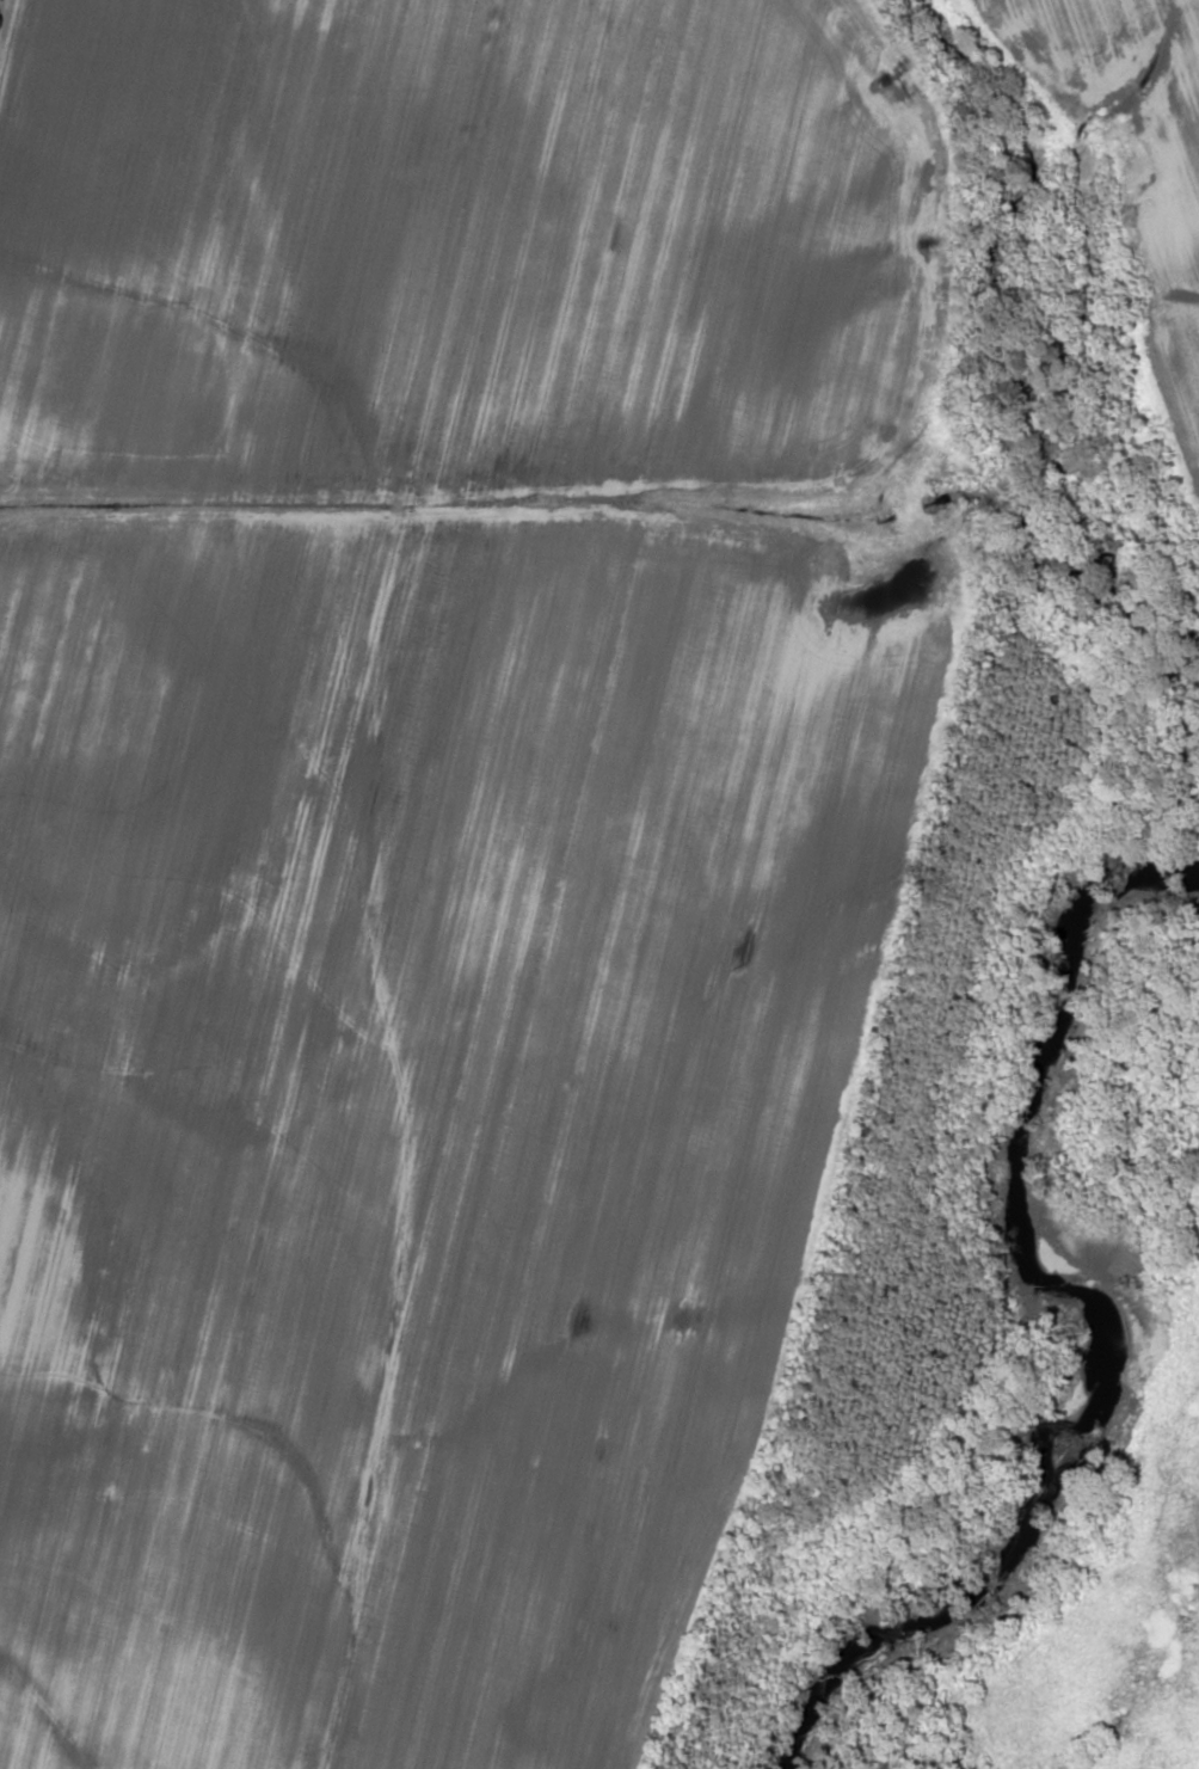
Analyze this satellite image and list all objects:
river: (1090, 1307)

